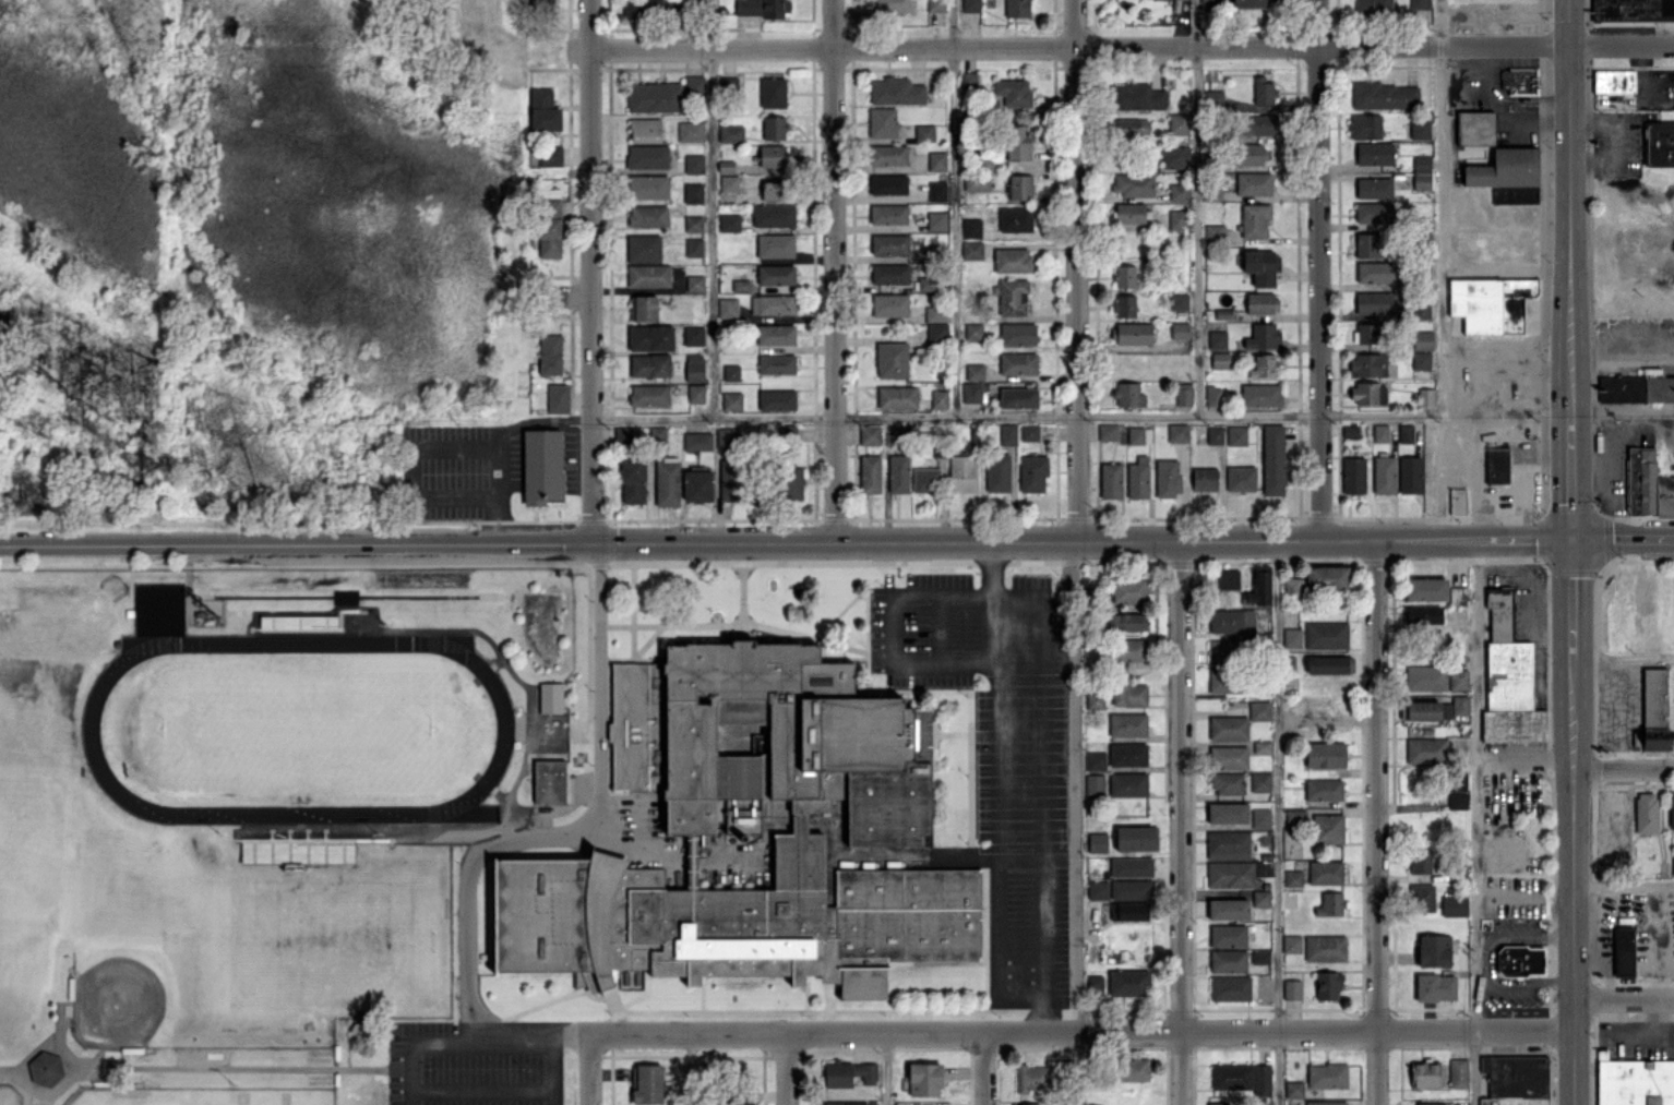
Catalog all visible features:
building: (539, 1)
building: (1253, 3)
building: (892, 5)
building: (935, 5)
building: (970, 5)
building: (1373, 7)
building: (642, 8)
building: (762, 8)
building: (1017, 8)
building: (1631, 10)
building: (1420, 12)
road: (1131, 46)
road: (1642, 69)
road: (1490, 70)
building: (971, 80)
building: (1519, 81)
building: (1614, 81)
building: (694, 85)
building: (895, 91)
building: (1263, 91)
building: (773, 92)
building: (1013, 92)
building: (1385, 96)
building: (654, 97)
building: (1138, 97)
building: (1213, 97)
building: (543, 110)
road: (1615, 119)
building: (882, 122)
building: (1177, 123)
building: (1259, 124)
building: (1365, 125)
building: (1131, 127)
building: (773, 128)
building: (1475, 128)
building: (1420, 129)
building: (645, 130)
building: (690, 131)
building: (924, 132)
building: (730, 133)
building: (1017, 142)
building: (1659, 143)
building: (1374, 153)
building: (887, 154)
building: (1248, 154)
building: (549, 155)
building: (647, 156)
building: (772, 156)
building: (1176, 156)
building: (936, 160)
building: (694, 163)
building: (1421, 172)
building: (1508, 175)
building: (728, 182)
building: (976, 183)
building: (1133, 183)
building: (1253, 183)
building: (887, 184)
building: (647, 187)
building: (1019, 187)
building: (1374, 188)
building: (773, 190)
building: (936, 191)
building: (1179, 191)
building: (692, 192)
road: (1196, 207)
road: (1442, 207)
road: (1569, 207)
road: (710, 208)
road: (954, 208)
building: (1128, 212)
building: (1373, 212)
building: (888, 214)
building: (773, 215)
building: (648, 216)
building: (1015, 219)
building: (1176, 219)
building: (1254, 219)
building: (936, 220)
building: (729, 223)
building: (693, 224)
building: (549, 228)
building: (970, 228)
building: (1215, 233)
building: (889, 244)
building: (1368, 244)
building: (775, 245)
building: (693, 247)
building: (643, 248)
building: (971, 250)
building: (513, 251)
building: (1012, 260)
building: (1262, 266)
road: (1506, 267)
road: (1318, 271)
road: (833, 272)
road: (1077, 272)
building: (1375, 272)
road: (589, 273)
building: (775, 274)
building: (889, 274)
building: (648, 275)
building: (1125, 276)
building: (694, 283)
building: (925, 283)
building: (740, 285)
building: (1011, 297)
building: (1179, 301)
building: (1260, 302)
building: (1373, 302)
building: (1491, 303)
building: (772, 304)
building: (889, 304)
building: (1124, 305)
building: (643, 308)
building: (727, 308)
building: (1422, 308)
building: (935, 313)
building: (1180, 331)
building: (972, 332)
building: (936, 333)
building: (1132, 333)
building: (1368, 333)
road: (1638, 333)
building: (776, 334)
building: (1018, 334)
building: (693, 335)
building: (1263, 336)
building: (650, 337)
building: (1217, 339)
building: (1422, 339)
building: (550, 353)
road: (1622, 355)
building: (892, 359)
building: (1220, 360)
building: (1421, 360)
building: (776, 363)
building: (1017, 363)
building: (1367, 364)
building: (649, 365)
building: (1263, 365)
building: (693, 367)
road: (1499, 369)
building: (974, 371)
building: (730, 372)
building: (1636, 388)
building: (973, 392)
building: (695, 393)
building: (1367, 393)
building: (1128, 394)
building: (1183, 394)
building: (648, 395)
building: (1260, 395)
building: (1212, 396)
building: (1425, 396)
building: (558, 397)
building: (897, 397)
building: (1018, 397)
building: (938, 398)
building: (776, 399)
building: (731, 400)
road: (1623, 413)
road: (536, 416)
road: (1080, 416)
building: (1349, 430)
building: (1108, 431)
building: (1029, 432)
building: (1177, 432)
building: (1380, 432)
building: (1404, 433)
building: (639, 434)
building: (870, 434)
building: (1007, 434)
building: (1138, 434)
building: (1215, 434)
building: (1235, 434)
building: (894, 435)
building: (728, 436)
building: (697, 441)
road: (1609, 447)
road: (457, 448)
building: (1272, 459)
road: (1439, 459)
building: (542, 465)
building: (1497, 465)
parking lot: (466, 470)
road: (500, 471)
road: (1521, 471)
building: (997, 472)
building: (870, 473)
building: (898, 473)
building: (961, 473)
building: (1032, 473)
building: (1410, 473)
building: (1353, 475)
building: (1384, 475)
building: (1167, 477)
building: (1137, 478)
building: (1240, 478)
road: (1573, 478)
building: (1205, 479)
building: (632, 480)
building: (731, 480)
building: (925, 480)
building: (1110, 480)
building: (667, 482)
building: (792, 483)
building: (1648, 483)
building: (697, 485)
road: (457, 494)
building: (1458, 501)
road: (501, 519)
road: (1623, 540)
traffic signals: (1573, 541)
road: (1081, 542)
road: (295, 545)
road: (992, 569)
building: (1326, 577)
building: (1228, 578)
building: (1259, 586)
building: (1292, 588)
building: (1425, 589)
building: (1129, 590)
road: (742, 593)
building: (1457, 594)
road: (1574, 600)
road: (632, 614)
building: (1423, 617)
building: (1231, 621)
road: (736, 622)
building: (1125, 622)
road: (938, 629)
road: (1043, 635)
building: (1326, 635)
building: (1292, 637)
building: (1128, 649)
building: (1224, 650)
road: (1624, 658)
building: (1329, 664)
road: (596, 673)
building: (1508, 676)
building: (1425, 677)
building: (1458, 680)
building: (1224, 681)
building: (550, 694)
building: (1128, 695)
building: (1095, 700)
building: (1460, 705)
building: (1654, 708)
building: (1259, 710)
building: (1420, 710)
road: (1617, 713)
building: (1127, 724)
park: (297, 726)
building: (1228, 726)
track: (504, 728)
park: (19, 733)
building: (1262, 746)
parking lot: (999, 749)
building: (1426, 749)
road: (1523, 752)
building: (1127, 754)
building: (1325, 755)
building: (1229, 757)
building: (1095, 760)
road: (1624, 768)
building: (548, 777)
building: (1259, 781)
building: (1457, 781)
building: (1227, 783)
building: (1095, 784)
building: (1127, 784)
building: (1324, 790)
building: (1457, 800)
building: (1611, 804)
building: (1646, 810)
building: (1671, 812)
building: (1227, 813)
building: (736, 816)
road: (997, 817)
building: (1260, 818)
building: (1295, 818)
building: (1460, 820)
road: (1179, 822)
road: (1374, 822)
road: (1473, 822)
road: (1075, 824)
road: (1277, 824)
building: (1328, 828)
building: (1135, 838)
building: (1097, 842)
building: (1228, 844)
road: (888, 855)
road: (1020, 855)
building: (1421, 861)
building: (1131, 866)
building: (1325, 872)
road: (467, 874)
building: (1230, 874)
building: (1292, 878)
road: (1575, 881)
road: (1624, 881)
building: (1131, 889)
building: (1098, 890)
road: (1505, 893)
building: (1421, 897)
building: (1260, 898)
building: (1330, 903)
building: (1454, 905)
building: (1228, 909)
building: (1128, 911)
road: (1652, 926)
building: (1228, 935)
road: (1479, 935)
road: (1529, 935)
building: (1291, 944)
building: (1325, 947)
building: (1433, 950)
building: (1624, 951)
building: (1259, 956)
building: (1228, 960)
building: (1520, 960)
road: (1482, 961)
park: (156, 963)
building: (631, 978)
building: (1128, 982)
building: (1093, 984)
building: (1327, 985)
building: (1435, 986)
building: (1230, 987)
road: (1478, 987)
road: (1529, 987)
park: (11, 989)
building: (1291, 989)
road: (1624, 1000)
road: (1044, 1013)
road: (1080, 1032)
road: (1652, 1032)
road: (569, 1034)
road: (450, 1042)
parking lot: (476, 1062)
building: (45, 1068)
road: (550, 1069)
road: (588, 1069)
road: (687, 1069)
road: (787, 1069)
road: (885, 1069)
road: (982, 1069)
building: (1133, 1069)
building: (848, 1072)
building: (1458, 1072)
building: (1425, 1073)
building: (1326, 1074)
building: (1242, 1077)
building: (1032, 1078)
building: (924, 1079)
building: (1516, 1080)
building: (1634, 1081)
building: (646, 1083)
building: (1293, 1089)
road: (481, 1090)
park: (10, 1094)
park: (203, 1096)
building: (745, 1102)
building: (1326, 1102)
building: (845, 1103)
building: (1217, 1103)
building: (1428, 1103)
building: (1026, 1104)

